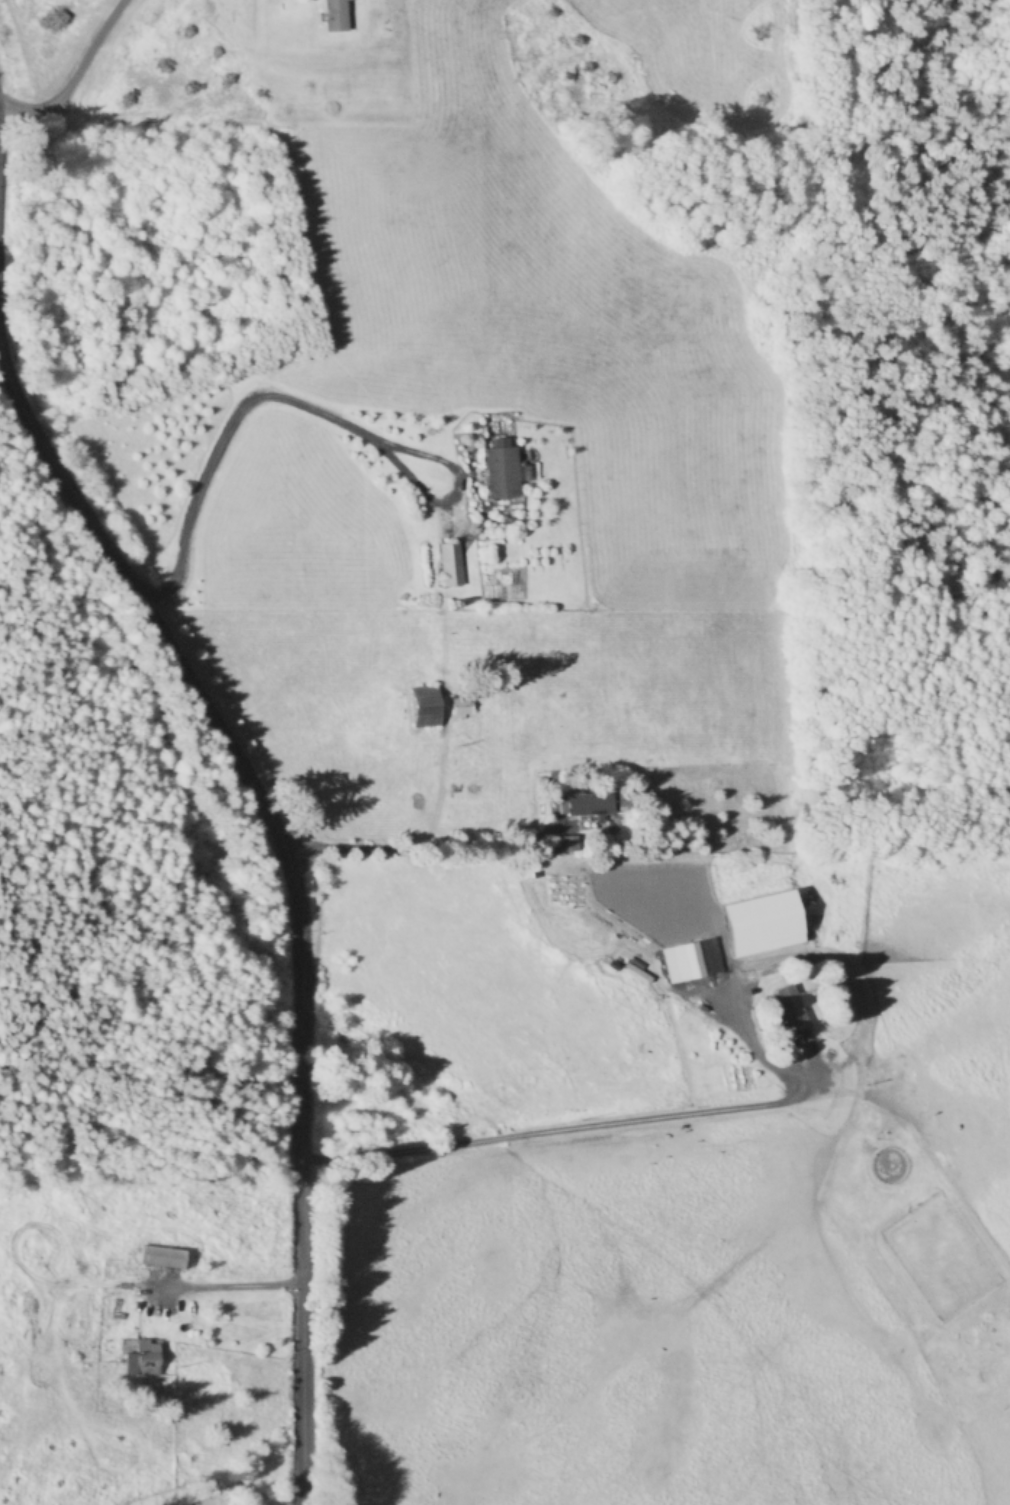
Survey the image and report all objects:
building: (336, 16)
road: (68, 74)
road: (304, 407)
building: (500, 474)
building: (448, 565)
building: (424, 707)
building: (459, 707)
road: (258, 794)
building: (589, 805)
road: (419, 847)
building: (763, 924)
building: (690, 961)
building: (792, 1009)
road: (606, 1126)
building: (164, 1257)
building: (143, 1360)

